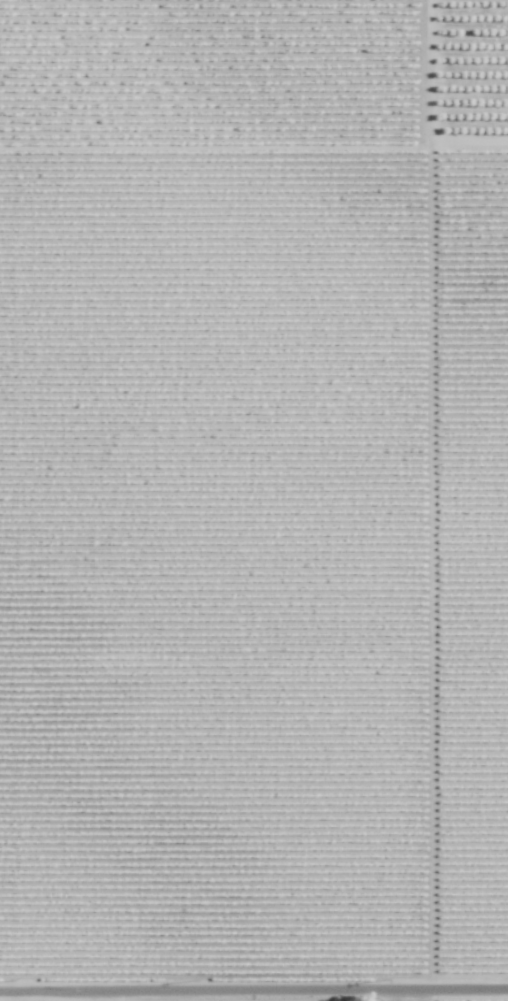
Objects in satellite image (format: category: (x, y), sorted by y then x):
road: (427, 496)
road: (253, 995)
road: (428, 997)
road: (100, 998)
road: (2, 999)
road: (43, 999)

